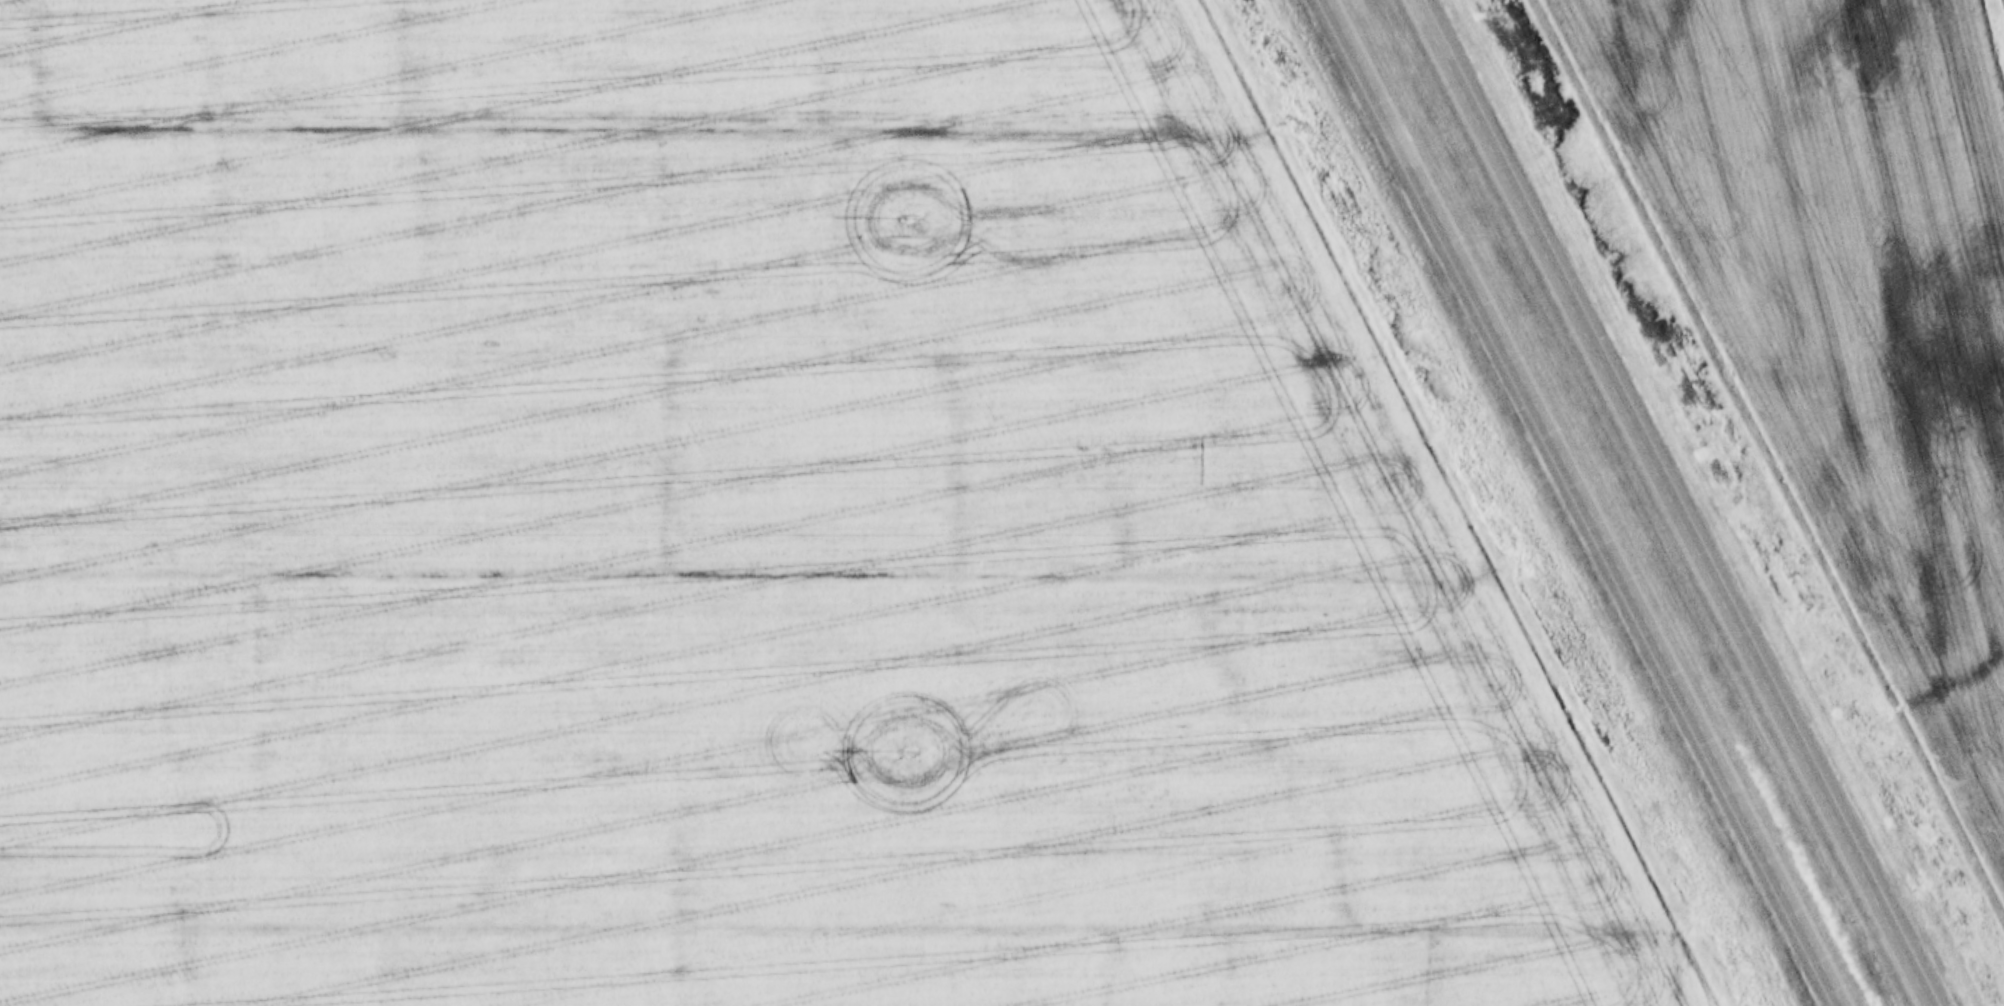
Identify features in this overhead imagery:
power tower: (914, 218)
road: (1587, 503)
road: (1673, 504)
power tower: (900, 749)

